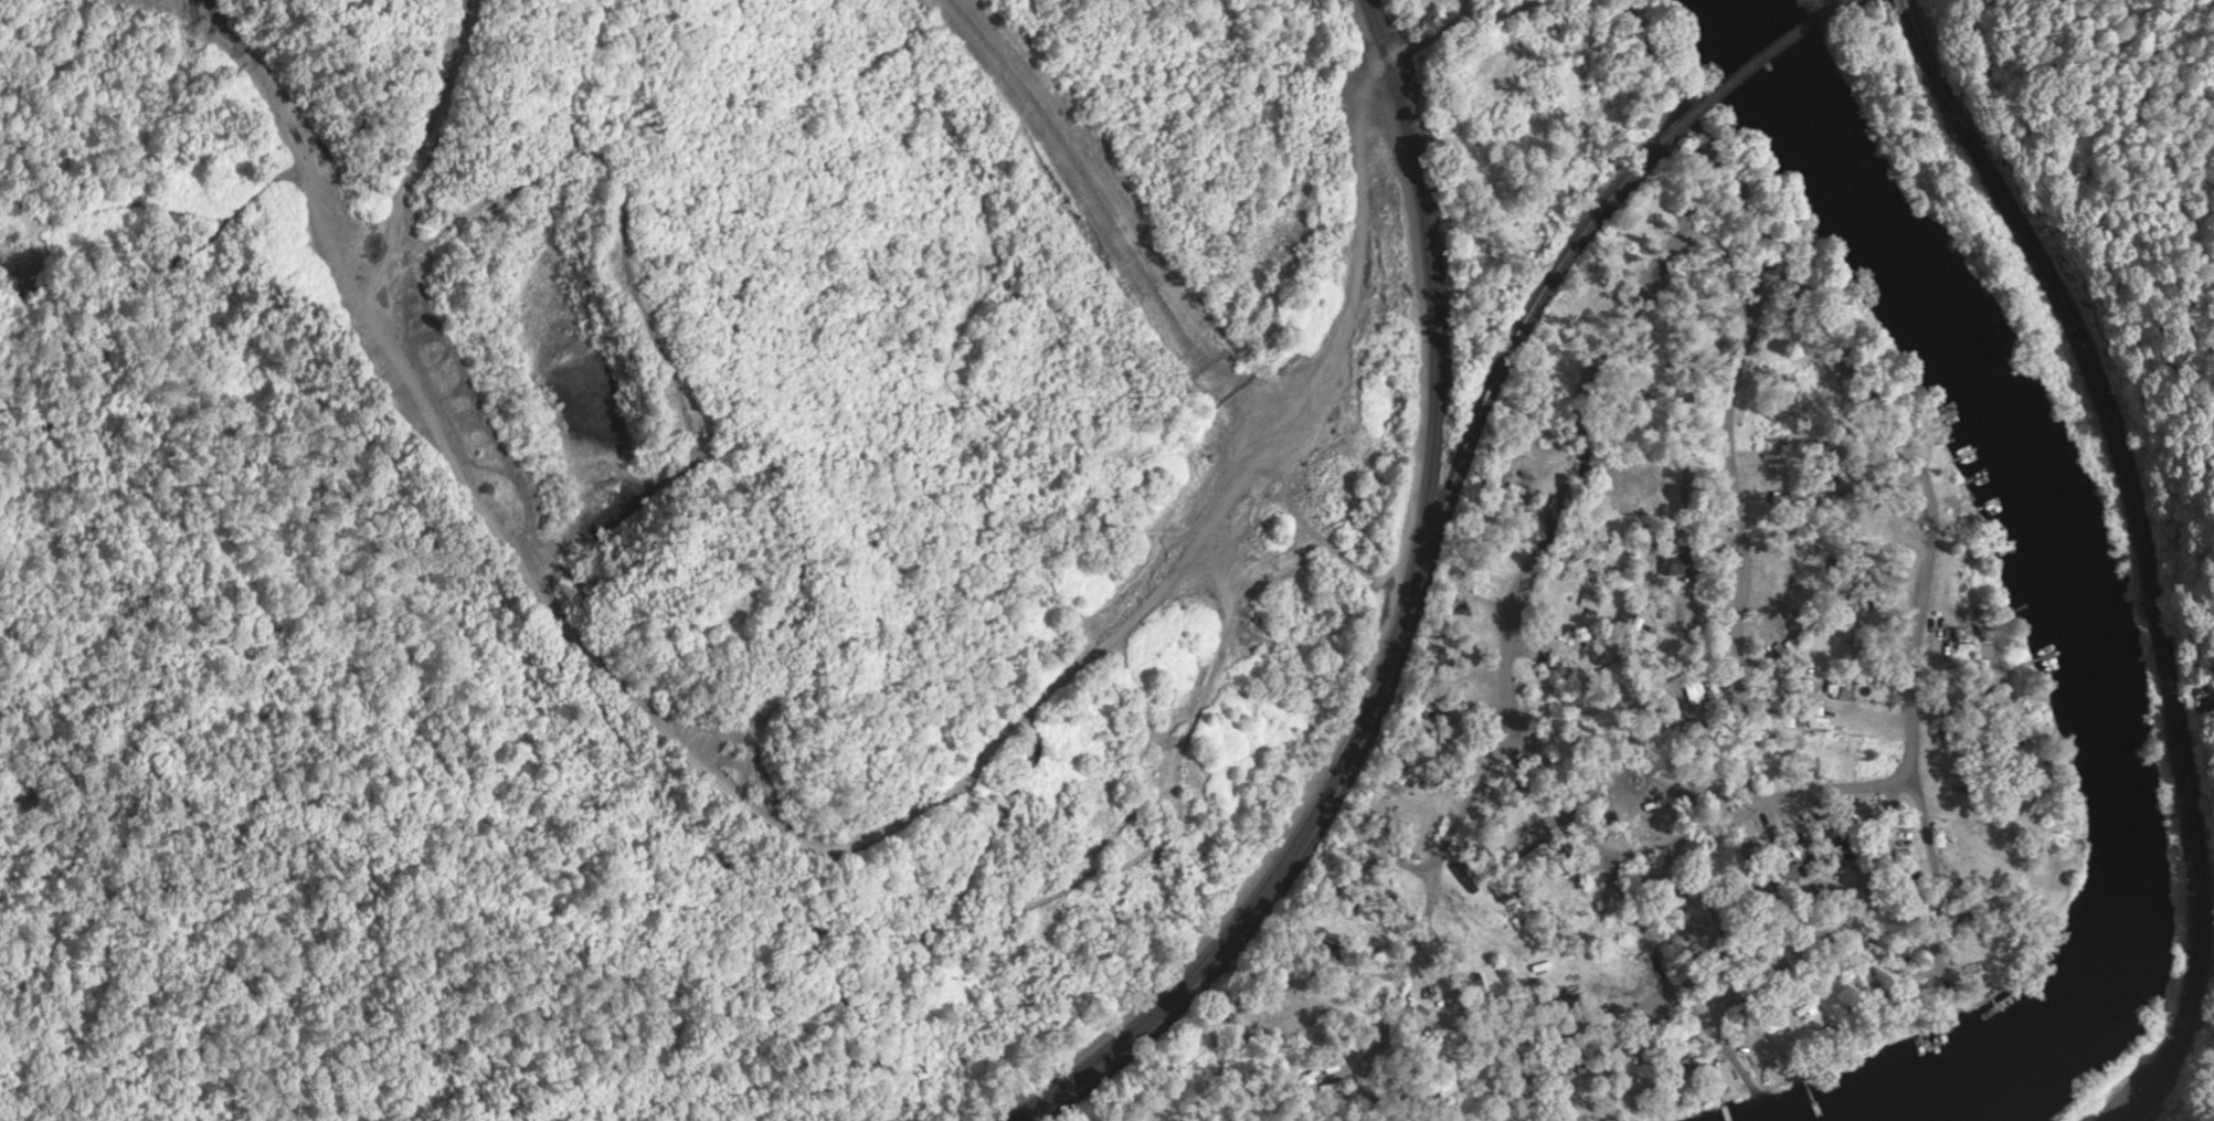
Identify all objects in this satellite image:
road: (1455, 28)
railway: (1770, 51)
building: (1809, 350)
road: (2140, 547)
building: (1677, 563)
river: (2065, 578)
building: (1293, 601)
building: (1590, 603)
building: (1685, 617)
railway: (1391, 627)
railway: (1402, 637)
building: (1844, 689)
road: (802, 826)
building: (1746, 850)
building: (2011, 858)
road: (730, 917)
building: (1474, 982)
building: (1571, 1003)
building: (1331, 1081)

